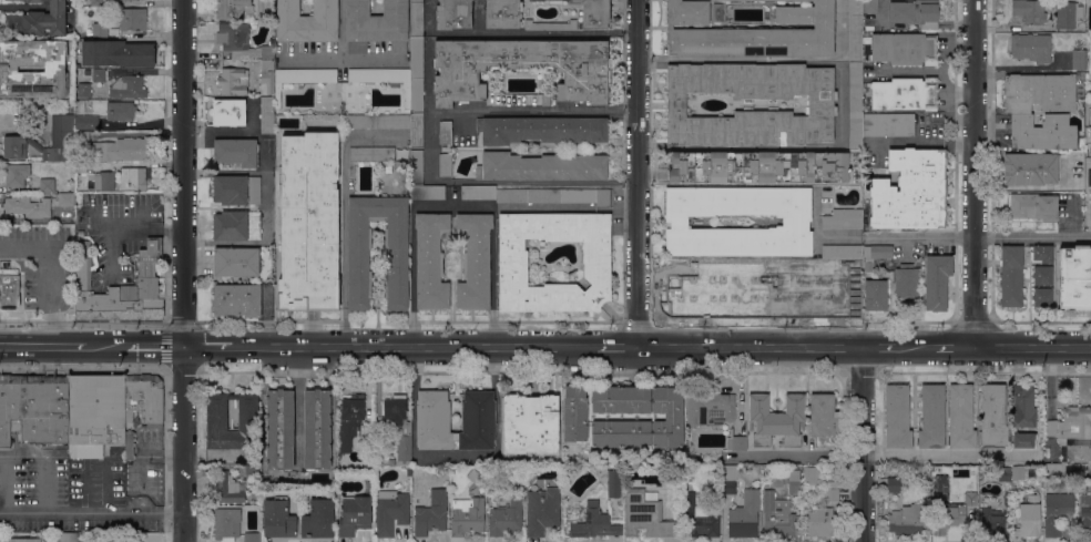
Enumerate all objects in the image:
building: (30, 0)
building: (555, 1)
building: (735, 1)
building: (748, 1)
building: (769, 1)
building: (96, 3)
building: (870, 6)
building: (234, 9)
building: (1030, 11)
building: (717, 12)
building: (915, 12)
building: (503, 13)
building: (595, 13)
building: (453, 14)
building: (1067, 14)
building: (132, 18)
building: (39, 20)
building: (307, 21)
building: (376, 24)
building: (551, 24)
building: (100, 30)
building: (855, 30)
road: (517, 32)
building: (752, 32)
building: (242, 41)
building: (1031, 47)
building: (905, 48)
road: (950, 50)
building: (119, 53)
building: (417, 55)
building: (1079, 59)
road: (339, 60)
road: (374, 60)
road: (730, 60)
building: (521, 68)
building: (33, 69)
road: (931, 71)
building: (88, 72)
building: (99, 73)
building: (267, 76)
building: (384, 78)
building: (300, 79)
building: (234, 80)
building: (129, 88)
building: (83, 90)
building: (906, 93)
building: (545, 99)
building: (819, 102)
building: (856, 104)
building: (121, 110)
building: (1041, 110)
building: (230, 112)
building: (267, 114)
building: (2, 117)
building: (377, 121)
building: (86, 122)
building: (888, 124)
building: (416, 130)
building: (541, 130)
road: (928, 130)
building: (446, 132)
building: (61, 136)
road: (904, 142)
building: (16, 146)
road: (434, 146)
building: (120, 150)
building: (236, 152)
building: (373, 154)
building: (400, 163)
building: (446, 164)
building: (81, 166)
building: (417, 166)
building: (541, 166)
building: (758, 167)
building: (1030, 168)
road: (224, 172)
road: (635, 172)
road: (973, 172)
building: (17, 174)
building: (135, 177)
building: (104, 181)
building: (47, 184)
building: (237, 190)
road: (265, 191)
building: (911, 191)
building: (427, 192)
building: (478, 192)
building: (554, 195)
building: (67, 198)
road: (451, 202)
building: (28, 206)
building: (1033, 206)
building: (844, 218)
building: (309, 222)
building: (796, 223)
road: (126, 225)
building: (237, 225)
road: (980, 236)
building: (843, 250)
building: (1043, 254)
building: (876, 255)
building: (513, 256)
building: (358, 259)
building: (431, 260)
building: (475, 260)
building: (237, 262)
road: (184, 270)
building: (1011, 275)
building: (1042, 275)
road: (49, 276)
building: (1074, 277)
building: (907, 282)
building: (937, 282)
building: (692, 284)
building: (762, 284)
building: (828, 284)
building: (9, 288)
building: (120, 288)
building: (661, 288)
building: (876, 295)
building: (1042, 297)
building: (237, 299)
road: (954, 345)
road: (1031, 345)
road: (155, 346)
road: (206, 346)
road: (412, 346)
road: (615, 346)
road: (748, 346)
road: (879, 346)
road: (917, 346)
road: (63, 347)
building: (144, 400)
building: (1023, 406)
building: (33, 408)
building: (711, 408)
building: (95, 413)
building: (993, 413)
building: (623, 416)
building: (961, 416)
building: (897, 417)
building: (932, 417)
building: (349, 419)
building: (776, 419)
building: (434, 420)
building: (478, 420)
building: (824, 420)
building: (252, 422)
building: (531, 423)
building: (1071, 423)
building: (399, 425)
building: (279, 430)
building: (317, 430)
building: (1023, 439)
building: (740, 442)
road: (861, 443)
building: (131, 446)
road: (144, 451)
road: (453, 454)
road: (879, 454)
road: (147, 459)
building: (392, 461)
road: (47, 462)
road: (95, 470)
building: (1062, 470)
building: (253, 471)
building: (1018, 472)
building: (1005, 473)
building: (810, 474)
building: (475, 475)
building: (728, 478)
road: (4, 480)
building: (409, 480)
building: (795, 481)
building: (766, 482)
building: (614, 483)
road: (9, 484)
building: (894, 484)
building: (230, 488)
building: (832, 490)
building: (543, 510)
building: (391, 511)
building: (1058, 511)
road: (91, 512)
building: (431, 513)
building: (355, 514)
building: (954, 514)
building: (468, 515)
building: (648, 515)
building: (700, 515)
building: (745, 515)
building: (1084, 515)
building: (778, 517)
building: (1029, 517)
building: (278, 518)
building: (319, 519)
building: (908, 519)
building: (504, 520)
building: (227, 522)
building: (594, 522)
building: (822, 522)
building: (993, 522)
building: (69, 536)
building: (253, 536)
building: (24, 540)

